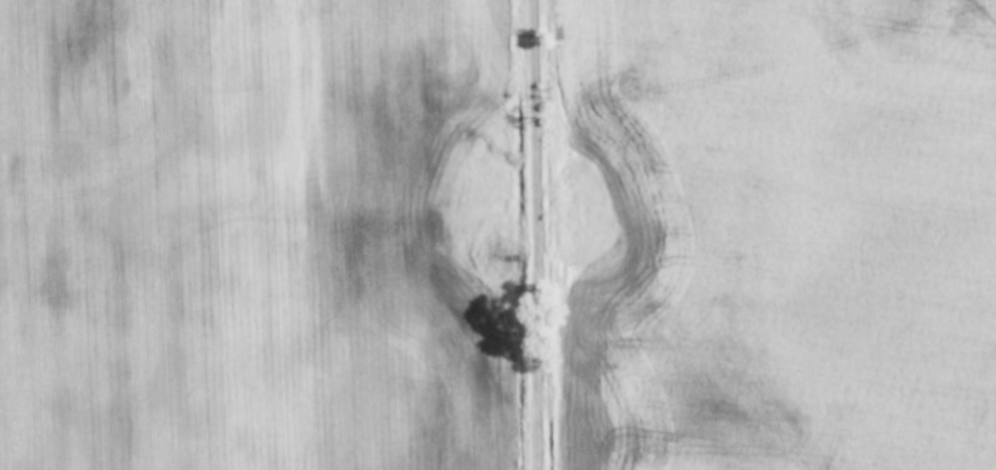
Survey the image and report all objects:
road: (543, 234)

